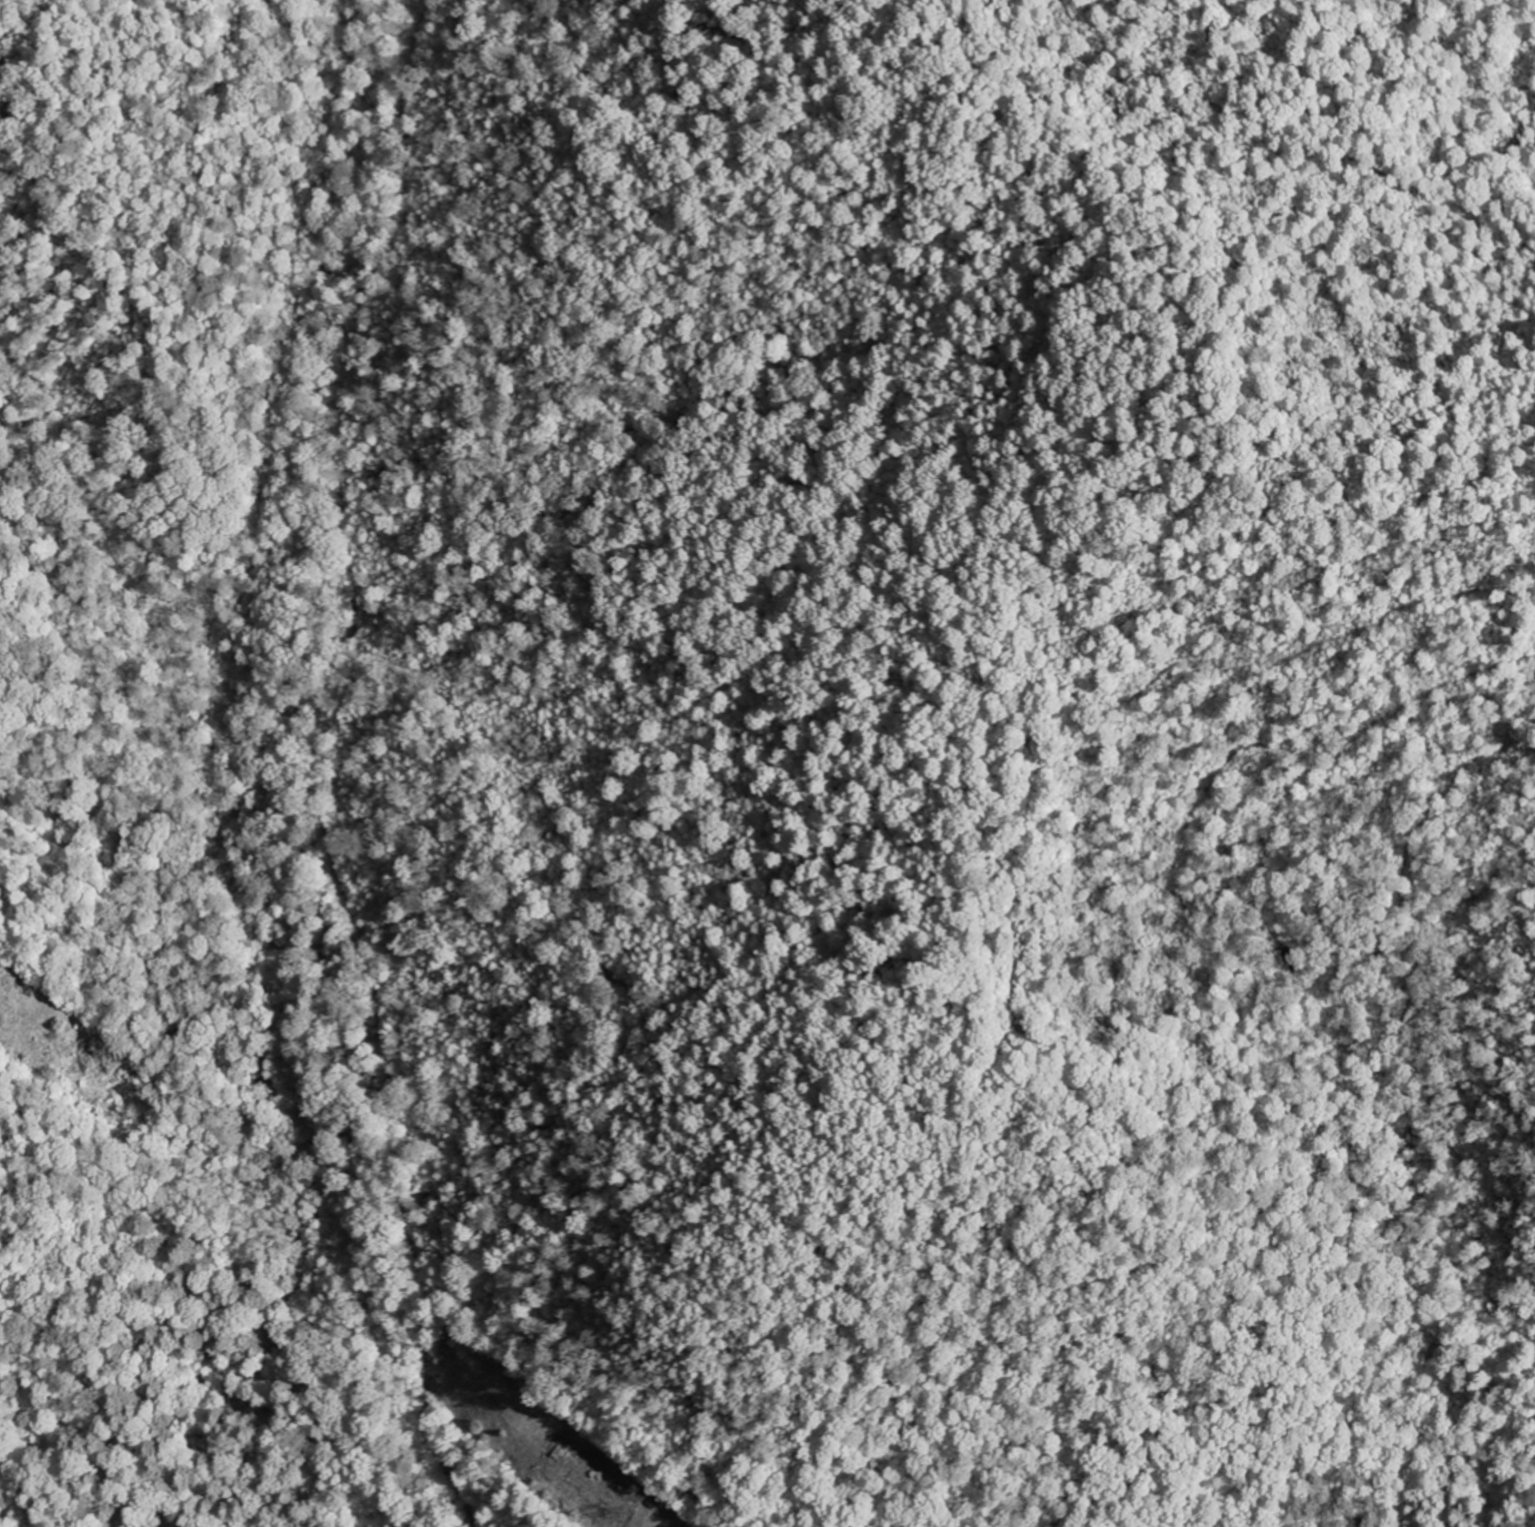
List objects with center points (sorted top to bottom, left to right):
power tower: (610, 1515)

